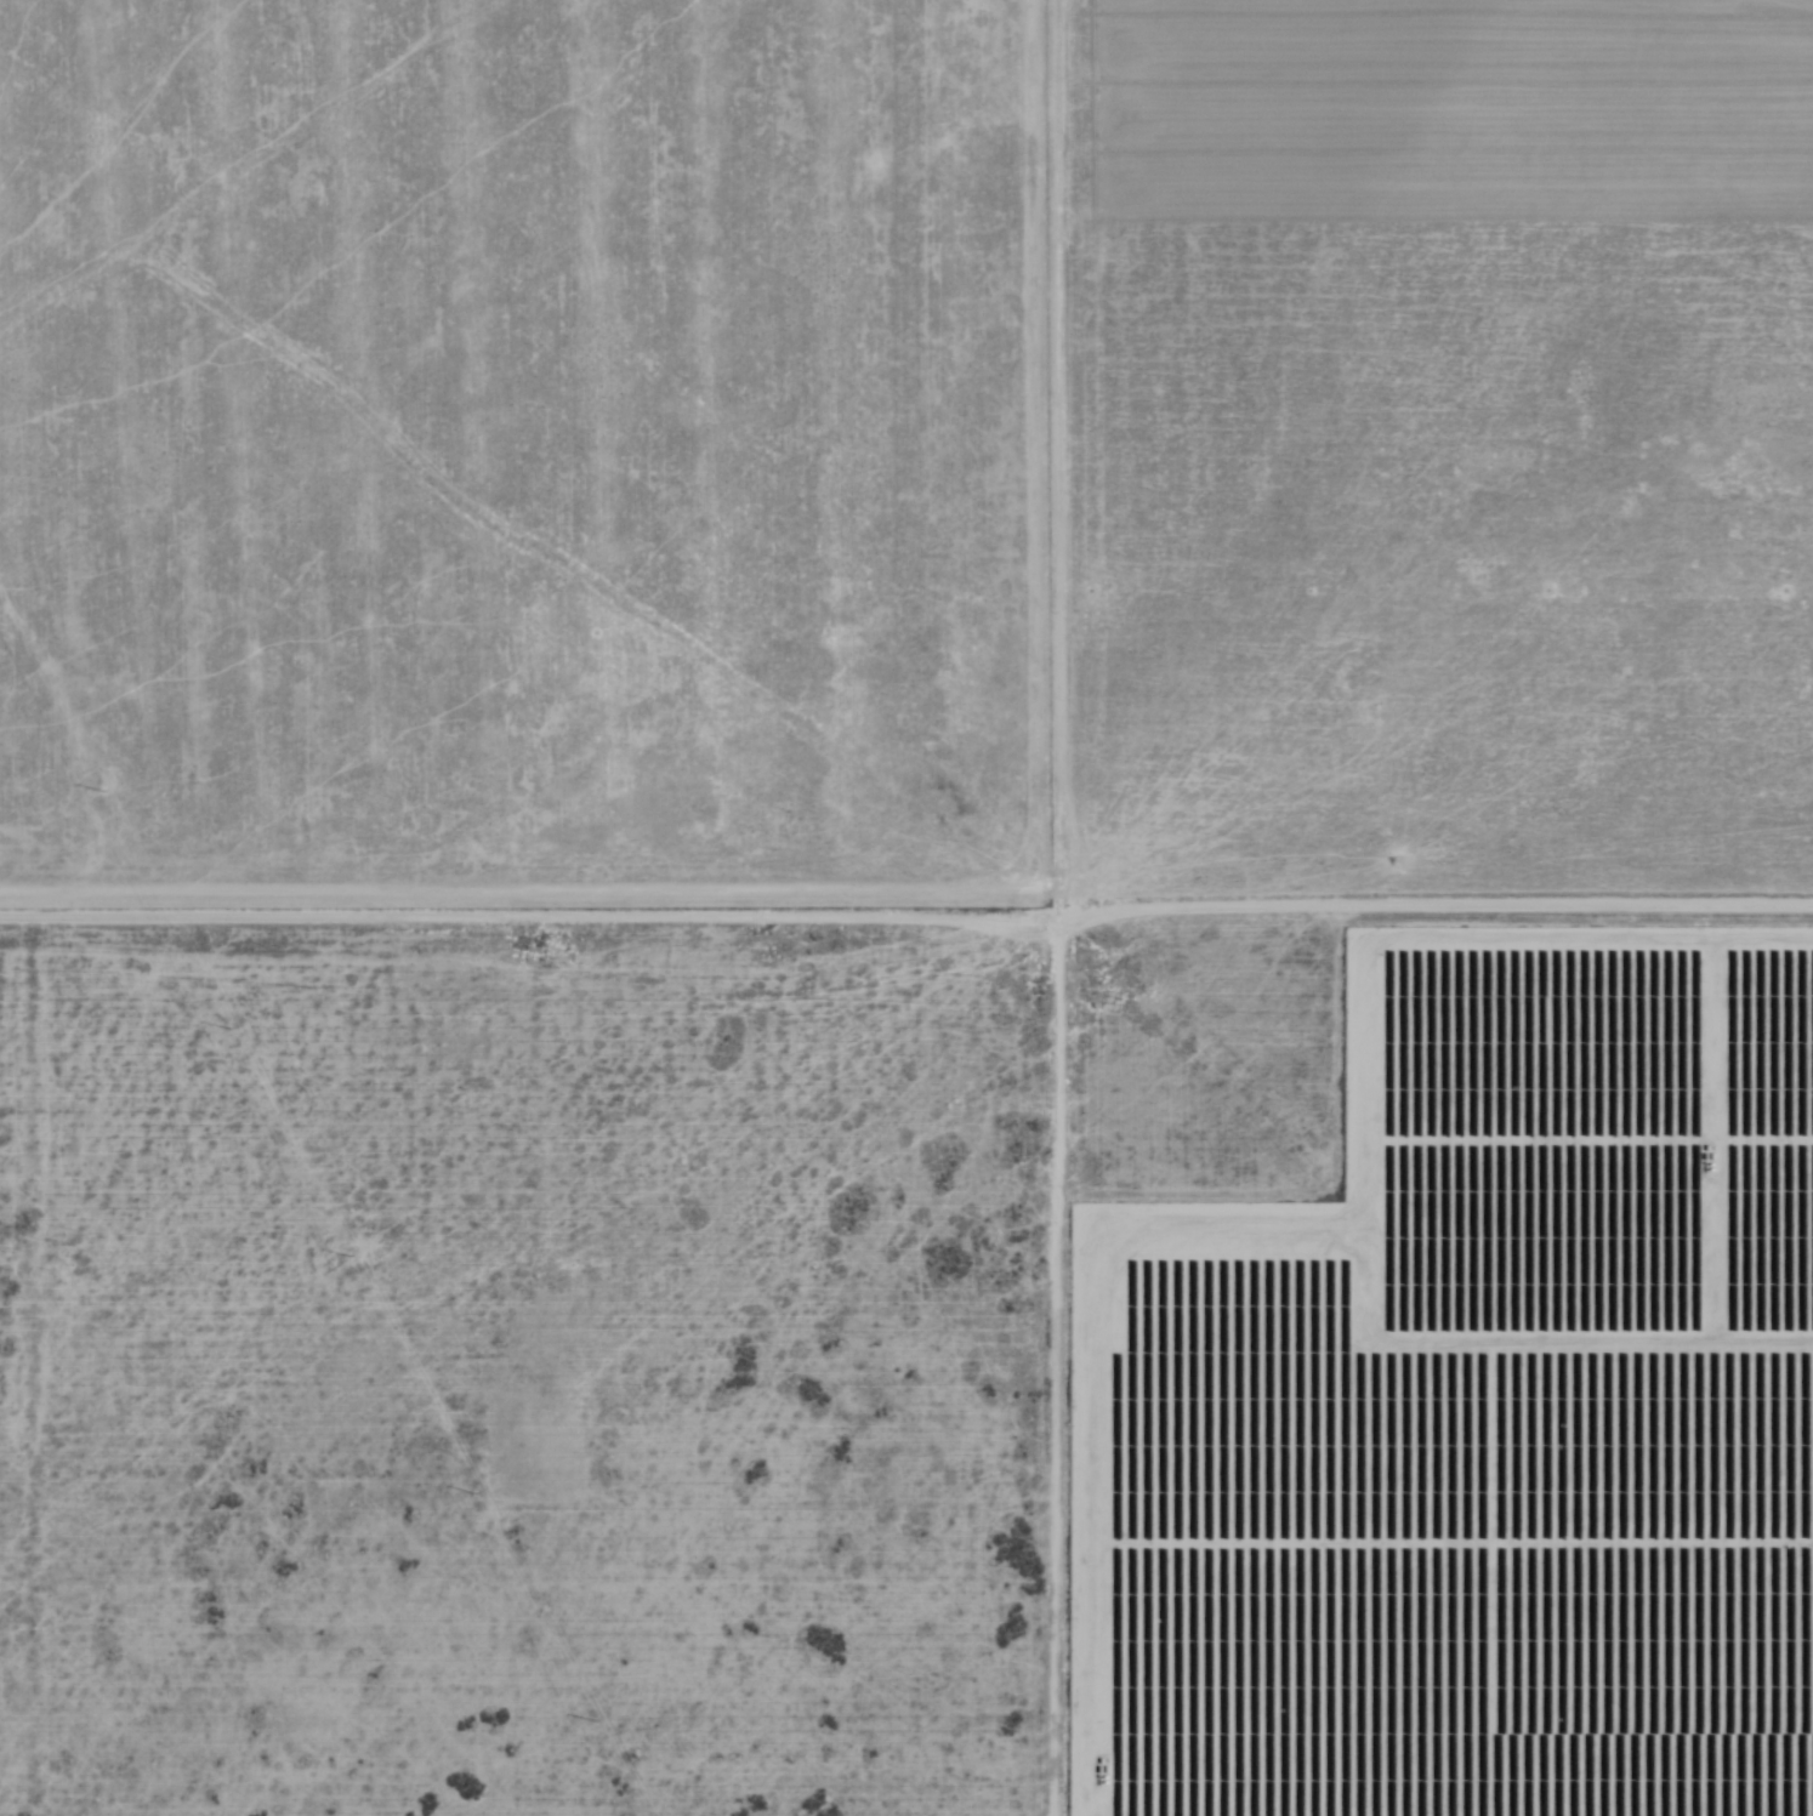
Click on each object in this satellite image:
road: (945, 466)
road: (909, 932)

